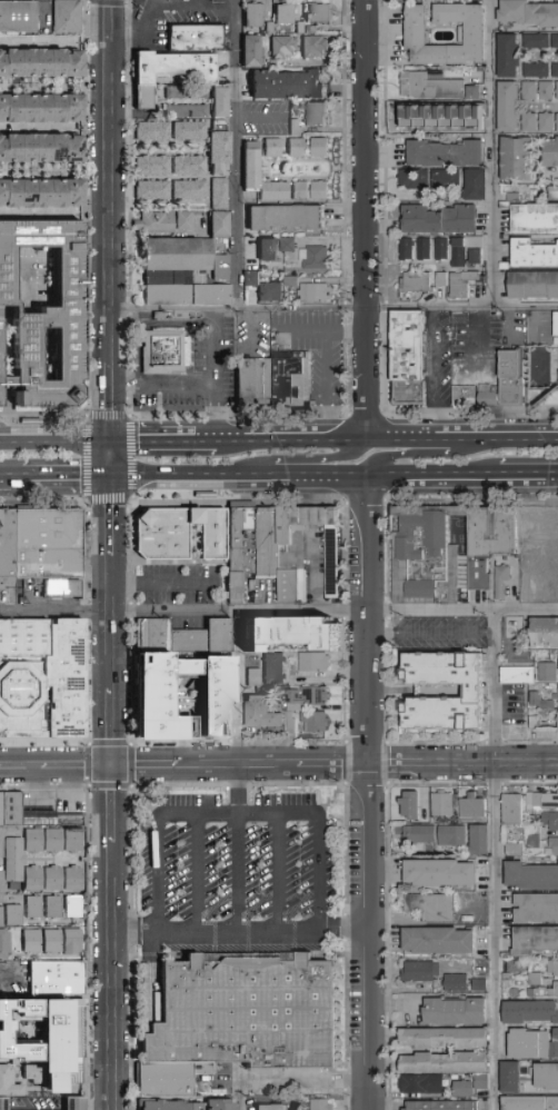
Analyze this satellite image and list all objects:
building: (283, 12)
building: (318, 12)
building: (526, 12)
building: (251, 13)
building: (64, 14)
building: (17, 17)
road: (113, 20)
parking lot: (178, 20)
building: (413, 33)
building: (198, 39)
building: (534, 40)
building: (554, 40)
building: (281, 44)
building: (312, 46)
building: (249, 49)
building: (506, 54)
building: (40, 63)
building: (177, 66)
building: (535, 69)
building: (554, 69)
building: (286, 83)
building: (427, 85)
building: (175, 91)
building: (471, 91)
building: (548, 92)
building: (531, 93)
building: (186, 105)
building: (40, 108)
building: (510, 109)
building: (315, 112)
building: (439, 113)
road: (262, 119)
building: (556, 121)
building: (217, 123)
building: (531, 126)
building: (549, 126)
building: (150, 129)
building: (188, 129)
building: (270, 146)
building: (293, 146)
building: (317, 146)
building: (40, 149)
building: (217, 152)
building: (444, 152)
road: (238, 155)
road: (495, 155)
building: (551, 155)
building: (518, 161)
building: (150, 163)
building: (187, 163)
building: (248, 163)
building: (428, 178)
building: (474, 184)
building: (150, 189)
building: (188, 189)
building: (298, 189)
building: (317, 189)
building: (271, 190)
building: (218, 191)
building: (40, 195)
building: (555, 197)
road: (113, 201)
building: (280, 216)
building: (182, 218)
building: (437, 218)
road: (369, 219)
building: (536, 220)
building: (152, 221)
building: (216, 222)
building: (286, 244)
building: (250, 248)
building: (266, 248)
building: (406, 248)
building: (422, 248)
building: (439, 248)
building: (466, 250)
building: (177, 257)
building: (535, 257)
building: (249, 276)
building: (416, 280)
building: (459, 283)
building: (180, 288)
building: (535, 288)
building: (268, 290)
building: (315, 291)
road: (336, 310)
building: (48, 311)
building: (556, 321)
road: (148, 325)
road: (536, 326)
road: (321, 330)
building: (464, 331)
road: (256, 334)
road: (217, 348)
building: (168, 350)
building: (411, 357)
building: (491, 361)
building: (3, 364)
road: (436, 375)
building: (466, 378)
building: (516, 378)
building: (256, 381)
building: (292, 381)
road: (326, 385)
road: (192, 387)
building: (491, 399)
road: (114, 402)
road: (464, 438)
road: (293, 439)
road: (58, 440)
road: (149, 440)
road: (200, 440)
road: (427, 456)
road: (116, 459)
road: (311, 459)
road: (528, 477)
road: (68, 478)
road: (10, 479)
road: (307, 479)
road: (114, 517)
building: (528, 527)
building: (165, 534)
building: (550, 534)
building: (216, 535)
building: (488, 541)
building: (243, 542)
building: (49, 544)
building: (268, 545)
building: (300, 547)
building: (8, 549)
building: (422, 554)
building: (329, 561)
building: (529, 571)
building: (499, 579)
road: (163, 585)
parking lot: (180, 585)
building: (232, 586)
building: (61, 588)
building: (557, 592)
road: (278, 615)
road: (113, 623)
building: (296, 633)
building: (546, 633)
building: (185, 637)
building: (557, 662)
building: (316, 663)
building: (276, 670)
building: (549, 673)
building: (516, 675)
building: (257, 678)
building: (43, 680)
road: (238, 692)
building: (475, 696)
building: (556, 698)
building: (542, 703)
building: (156, 704)
building: (296, 710)
building: (263, 714)
building: (557, 720)
building: (537, 723)
building: (554, 723)
road: (113, 730)
road: (279, 769)
traffic signals: (113, 770)
road: (371, 794)
building: (540, 802)
building: (412, 804)
building: (444, 804)
road: (113, 806)
building: (474, 809)
building: (11, 810)
building: (512, 810)
road: (236, 816)
building: (40, 819)
building: (71, 821)
building: (550, 821)
building: (420, 835)
building: (454, 836)
building: (534, 838)
building: (480, 840)
building: (36, 842)
building: (56, 842)
building: (76, 842)
building: (554, 842)
building: (3, 843)
building: (516, 850)
road: (237, 853)
parking lot: (238, 859)
building: (16, 861)
road: (495, 861)
building: (441, 873)
road: (277, 875)
building: (531, 875)
road: (197, 876)
building: (37, 880)
building: (56, 880)
building: (76, 880)
building: (3, 883)
building: (2, 900)
building: (36, 908)
building: (56, 908)
building: (76, 908)
building: (432, 908)
building: (536, 908)
building: (16, 916)
building: (2, 919)
road: (242, 936)
building: (439, 940)
building: (535, 940)
building: (33, 942)
building: (54, 942)
building: (74, 943)
building: (6, 945)
building: (515, 967)
building: (554, 968)
building: (421, 971)
road: (114, 975)
building: (59, 980)
building: (536, 980)
building: (458, 983)
building: (481, 985)
building: (544, 992)
building: (10, 1004)
building: (62, 1009)
building: (456, 1012)
building: (530, 1012)
building: (249, 1018)
building: (28, 1021)
building: (4, 1022)
building: (446, 1039)
building: (3, 1040)
building: (532, 1044)
building: (60, 1045)
building: (6, 1061)
building: (447, 1063)
building: (36, 1074)
building: (546, 1076)
building: (69, 1078)
building: (511, 1078)
building: (172, 1082)
road: (288, 1082)
building: (482, 1083)
building: (9, 1084)
building: (422, 1084)
building: (465, 1089)
road: (239, 1097)
building: (530, 1103)
building: (4, 1104)
building: (77, 1104)
building: (187, 1106)
building: (322, 1106)
building: (444, 1106)
building: (272, 1109)

